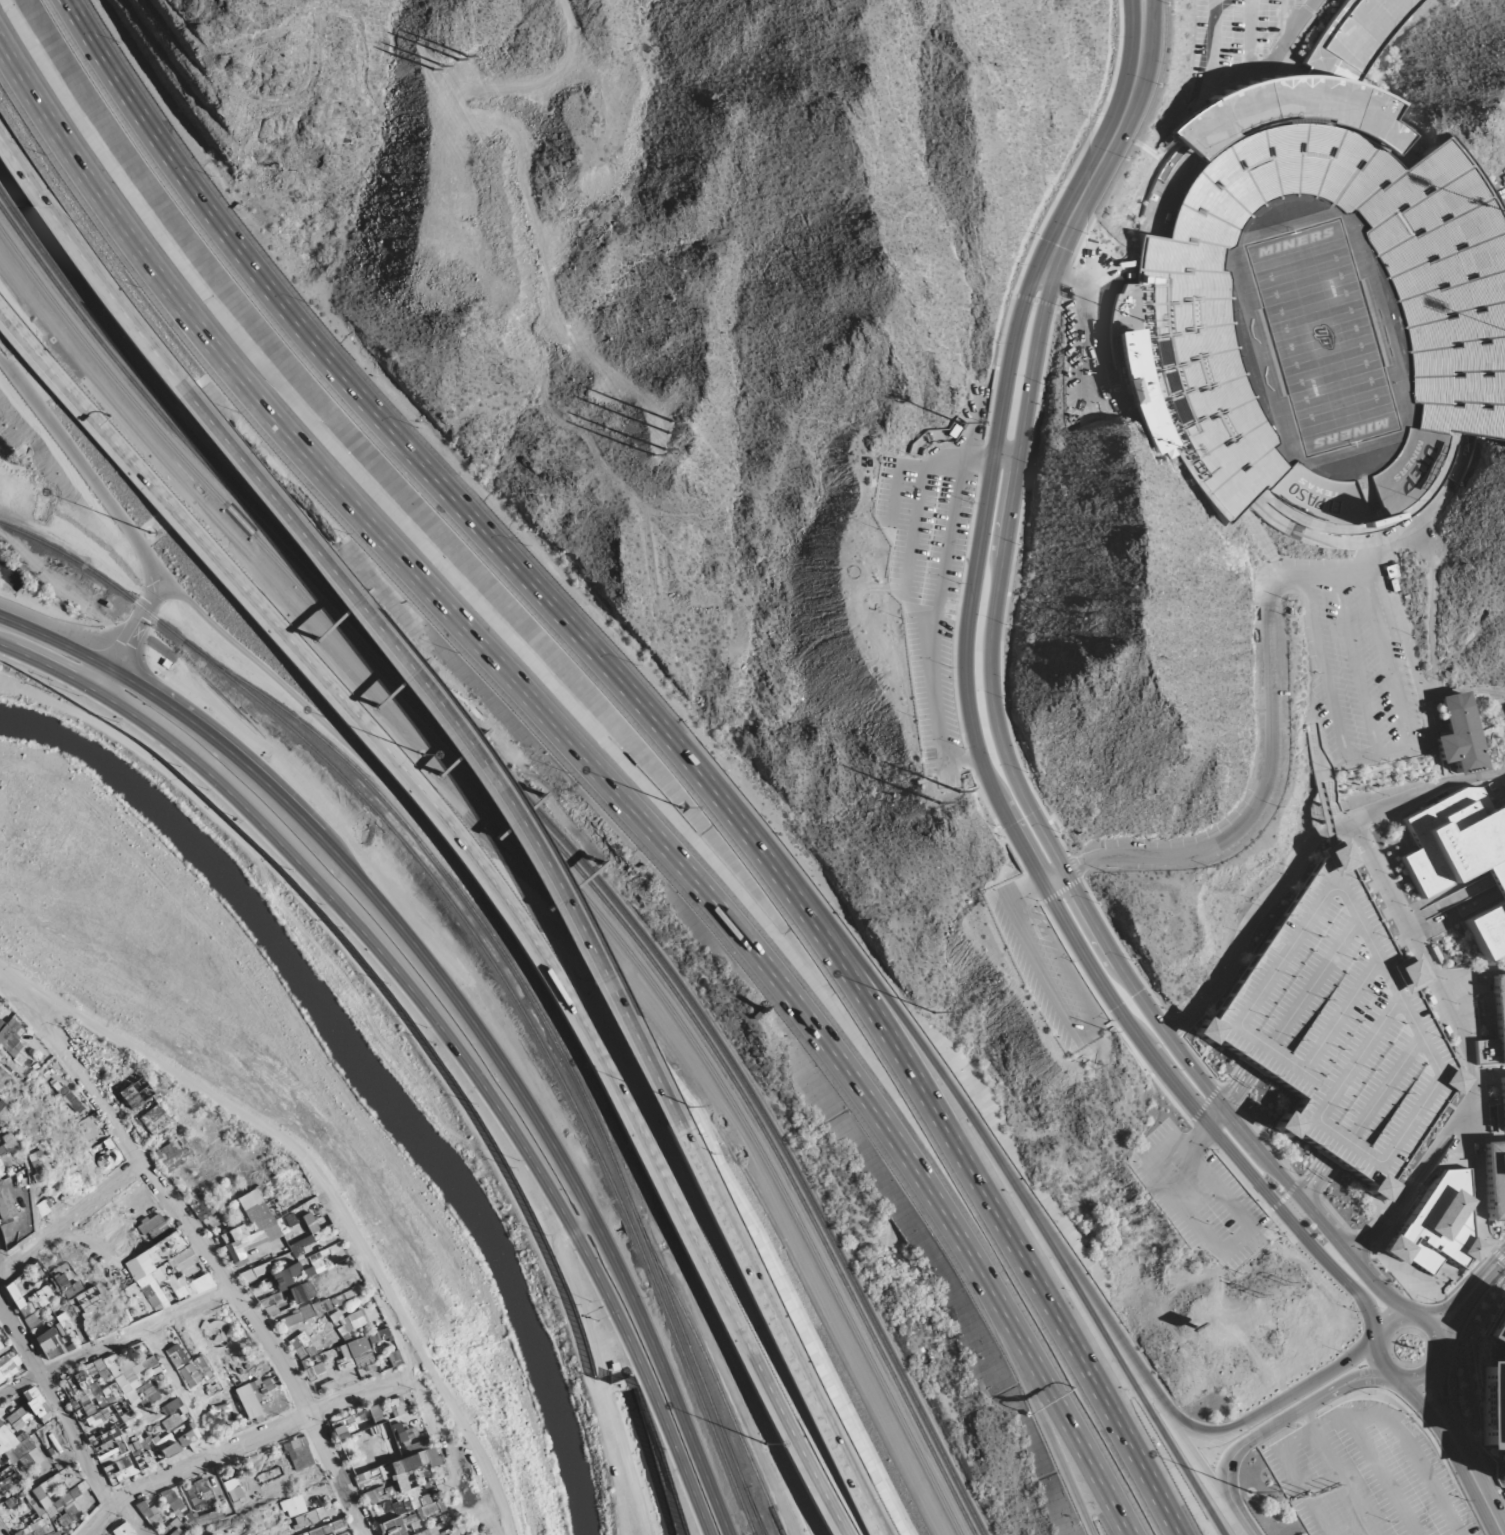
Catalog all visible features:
power tower: (457, 10)
road: (1286, 22)
parking lot: (1247, 32)
road: (1249, 35)
road: (1299, 37)
power tower: (420, 38)
road: (1236, 73)
building: (1312, 85)
road: (90, 251)
road: (550, 254)
road: (1064, 281)
power tower: (490, 328)
building: (1183, 330)
stadium: (1319, 330)
parking lot: (1094, 331)
power tower: (452, 338)
park: (1323, 338)
road: (46, 355)
road: (1106, 364)
building: (959, 423)
building: (952, 431)
road: (1022, 433)
power tower: (681, 434)
road: (1006, 457)
power tower: (670, 465)
road: (917, 466)
road: (914, 532)
railway: (95, 572)
parking lot: (929, 584)
road: (934, 631)
road: (132, 635)
parking lot: (1357, 661)
road: (616, 677)
road: (1326, 682)
road: (1423, 688)
road: (1312, 712)
road: (968, 718)
road: (546, 719)
building: (1457, 736)
road: (1317, 750)
road: (1390, 752)
road: (1268, 766)
road: (1322, 776)
railway: (375, 785)
road: (1329, 793)
road: (1332, 804)
power tower: (953, 812)
road: (1322, 813)
road: (1339, 819)
railway: (546, 823)
railway: (541, 832)
railway: (535, 841)
power tower: (937, 843)
road: (1301, 859)
building: (1462, 860)
road: (1032, 888)
road: (561, 890)
road: (1453, 897)
road: (531, 930)
parking lot: (1045, 967)
road: (8, 969)
road: (1467, 970)
road: (8, 972)
road: (456, 999)
building: (1499, 1008)
road: (437, 1022)
building: (1339, 1028)
parking lot: (1339, 1028)
power tower: (1109, 1033)
railway: (538, 1037)
road: (1083, 1038)
road: (1465, 1046)
power tower: (1097, 1067)
river: (368, 1072)
road: (1488, 1074)
road: (945, 1079)
road: (1231, 1096)
building: (1501, 1101)
road: (1223, 1108)
road: (253, 1131)
road: (1195, 1134)
road: (1474, 1140)
building: (1494, 1180)
road: (1309, 1188)
road: (329, 1196)
parking lot: (1199, 1197)
road: (70, 1215)
road: (583, 1223)
building: (1437, 1226)
road: (1498, 1243)
road: (1217, 1246)
road: (202, 1248)
railway: (650, 1253)
road: (1498, 1256)
power tower: (1286, 1283)
road: (1466, 1288)
power tower: (1259, 1296)
road: (1468, 1305)
road: (1378, 1333)
road: (115, 1339)
building: (189, 1372)
road: (655, 1374)
road: (1325, 1374)
road: (1452, 1377)
building: (1491, 1388)
road: (177, 1391)
road: (1139, 1394)
road: (1153, 1394)
road: (1318, 1399)
road: (1432, 1406)
road: (54, 1409)
road: (1256, 1415)
road: (1362, 1418)
road: (1183, 1421)
road: (1417, 1422)
road: (430, 1426)
road: (1043, 1427)
road: (1461, 1439)
road: (245, 1440)
road: (1446, 1442)
road: (466, 1443)
road: (1140, 1468)
road: (1226, 1470)
road: (1339, 1472)
road: (1094, 1476)
parking lot: (1367, 1477)
road: (1383, 1478)
power tower: (1331, 1487)
road: (1500, 1492)
power tower: (1302, 1494)
road: (867, 1497)
road: (1316, 1506)
railway: (754, 1511)
road: (127, 1518)
road: (1496, 1525)
railway: (754, 1534)
railway: (754, 1534)

